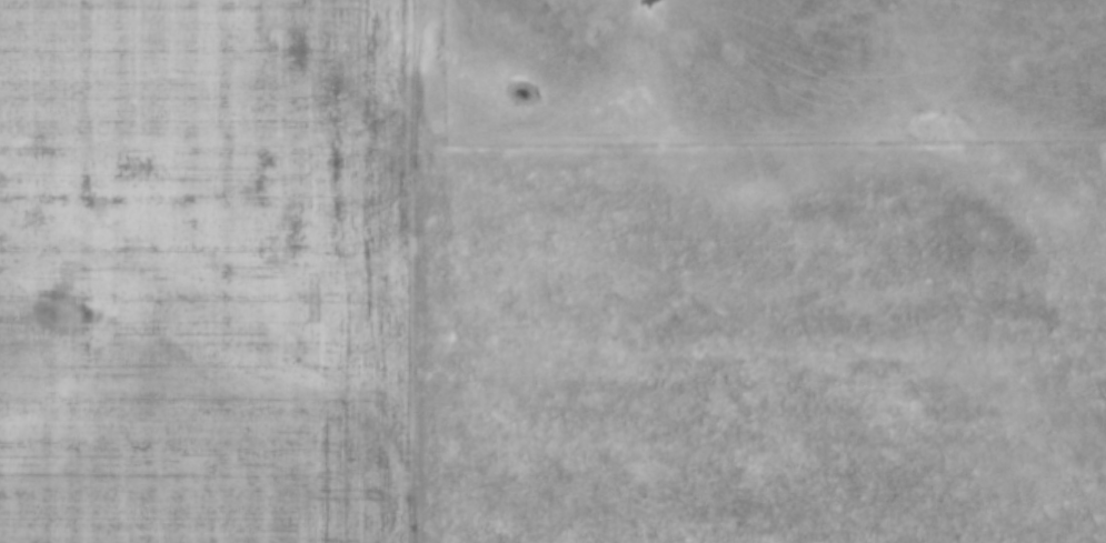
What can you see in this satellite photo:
road: (208, 149)
road: (408, 231)
road: (255, 336)

